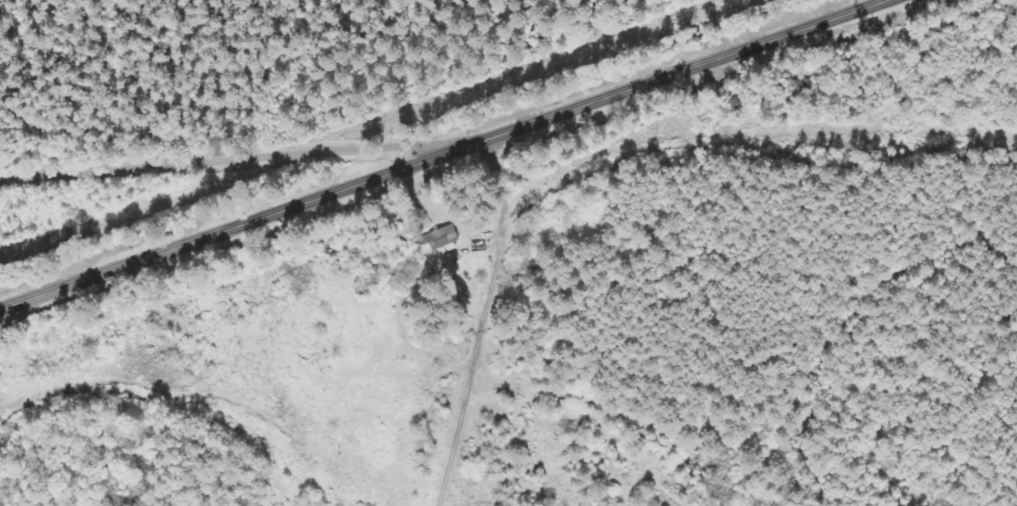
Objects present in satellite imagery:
road: (447, 152)
road: (231, 161)
building: (441, 241)

